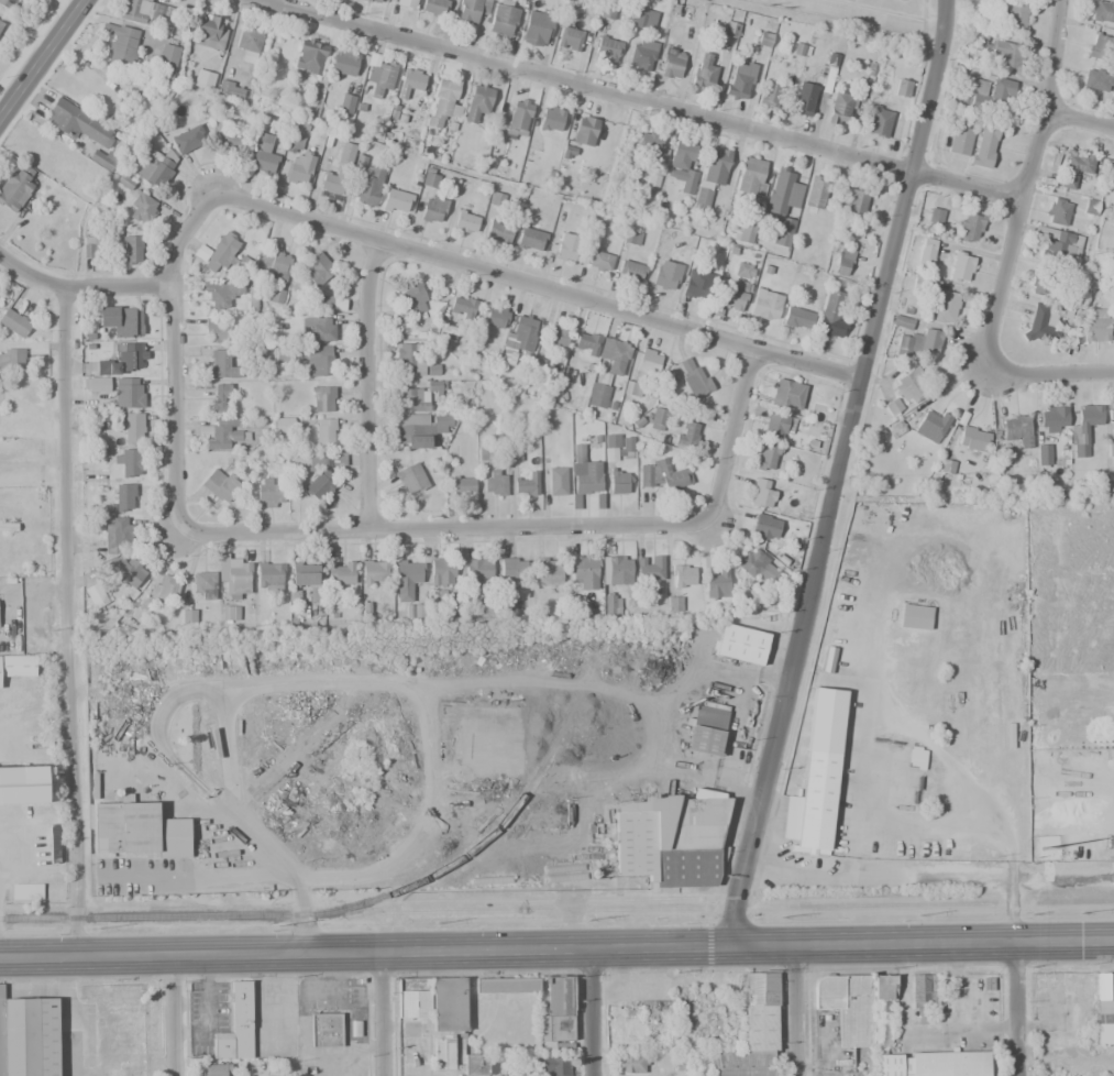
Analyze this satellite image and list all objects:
building: (375, 1)
building: (5, 3)
building: (404, 3)
building: (434, 8)
building: (472, 10)
building: (1103, 11)
building: (142, 12)
building: (1014, 15)
building: (643, 18)
building: (504, 20)
building: (0, 23)
building: (537, 29)
building: (209, 33)
building: (977, 36)
building: (570, 39)
building: (250, 40)
building: (119, 43)
building: (1100, 46)
building: (607, 48)
road: (37, 52)
building: (642, 53)
building: (1007, 53)
building: (167, 56)
building: (310, 57)
building: (344, 62)
building: (672, 64)
building: (703, 73)
building: (380, 75)
building: (205, 79)
building: (740, 79)
building: (1095, 80)
building: (410, 83)
building: (902, 87)
building: (231, 89)
building: (771, 91)
building: (1113, 92)
building: (986, 94)
building: (804, 99)
road: (644, 100)
building: (442, 101)
building: (346, 102)
building: (477, 102)
building: (840, 107)
building: (519, 114)
road: (1079, 118)
building: (551, 119)
building: (879, 121)
building: (77, 122)
building: (413, 122)
building: (584, 130)
building: (609, 138)
building: (187, 139)
building: (229, 140)
building: (961, 141)
building: (296, 143)
building: (653, 144)
building: (985, 144)
building: (346, 153)
building: (262, 158)
building: (101, 160)
building: (682, 165)
building: (715, 165)
building: (1079, 165)
building: (156, 167)
building: (300, 168)
building: (753, 176)
building: (430, 178)
building: (333, 180)
building: (1113, 180)
building: (1113, 184)
building: (367, 187)
building: (14, 188)
road: (1022, 188)
building: (783, 191)
building: (816, 191)
building: (702, 198)
building: (397, 200)
building: (495, 200)
building: (856, 201)
building: (142, 208)
building: (432, 209)
building: (1058, 210)
building: (935, 217)
building: (466, 221)
building: (969, 228)
building: (498, 231)
building: (783, 231)
building: (747, 232)
building: (631, 237)
road: (373, 238)
building: (530, 239)
building: (1067, 244)
building: (89, 246)
building: (567, 248)
building: (133, 250)
building: (201, 252)
building: (220, 252)
building: (925, 255)
building: (600, 261)
building: (843, 261)
building: (275, 263)
building: (958, 266)
building: (317, 270)
building: (630, 271)
building: (743, 271)
building: (666, 274)
building: (1044, 279)
building: (697, 284)
road: (82, 286)
building: (223, 294)
building: (276, 296)
building: (730, 296)
building: (416, 300)
building: (327, 301)
building: (765, 305)
building: (462, 307)
building: (945, 307)
building: (495, 316)
building: (830, 317)
building: (798, 318)
building: (121, 320)
building: (14, 322)
building: (901, 322)
building: (1039, 322)
building: (1098, 326)
building: (320, 328)
building: (217, 330)
building: (446, 331)
building: (558, 334)
building: (519, 337)
building: (918, 341)
building: (586, 343)
building: (614, 350)
building: (411, 356)
building: (123, 359)
building: (319, 361)
building: (649, 361)
building: (11, 362)
building: (218, 365)
building: (539, 369)
building: (432, 370)
road: (1045, 374)
building: (693, 377)
building: (96, 384)
road: (366, 384)
building: (909, 385)
building: (631, 388)
building: (598, 391)
building: (128, 393)
building: (787, 393)
building: (421, 396)
building: (323, 398)
building: (220, 400)
building: (1113, 414)
building: (658, 417)
building: (1052, 418)
building: (931, 424)
building: (283, 425)
building: (775, 427)
building: (131, 428)
building: (419, 429)
building: (1014, 429)
building: (1084, 430)
building: (324, 431)
building: (220, 432)
building: (686, 433)
building: (971, 439)
building: (611, 440)
building: (626, 444)
building: (1110, 451)
building: (1043, 454)
building: (768, 458)
building: (327, 459)
building: (130, 461)
building: (941, 466)
road: (837, 473)
building: (585, 474)
building: (662, 475)
building: (411, 479)
building: (556, 481)
building: (494, 482)
building: (619, 482)
building: (220, 484)
building: (527, 484)
building: (320, 485)
building: (462, 486)
building: (268, 494)
building: (760, 494)
building: (124, 497)
road: (531, 526)
building: (765, 526)
building: (118, 531)
building: (2, 548)
building: (19, 553)
building: (753, 563)
building: (478, 568)
building: (514, 568)
building: (125, 569)
building: (549, 570)
building: (616, 570)
building: (375, 571)
building: (340, 572)
building: (443, 572)
building: (582, 573)
building: (233, 574)
building: (647, 574)
building: (682, 575)
building: (269, 577)
building: (406, 577)
building: (309, 579)
building: (715, 583)
building: (203, 585)
building: (165, 588)
building: (96, 595)
building: (453, 604)
building: (611, 605)
building: (486, 606)
building: (415, 611)
building: (188, 616)
building: (915, 616)
road: (65, 621)
building: (740, 644)
building: (16, 665)
building: (706, 729)
building: (916, 757)
building: (814, 776)
building: (23, 784)
building: (139, 831)
building: (671, 836)
building: (54, 841)
railway: (467, 853)
road: (907, 875)
road: (1060, 875)
building: (26, 890)
railway: (755, 897)
railway: (956, 904)
railway: (540, 910)
power tower: (1080, 913)
railway: (142, 915)
power tower: (780, 915)
power tower: (917, 915)
power tower: (587, 920)
power tower: (285, 923)
power tower: (437, 923)
power tower: (96, 927)
road: (556, 948)
building: (506, 985)
building: (919, 995)
building: (413, 997)
building: (848, 1007)
building: (1104, 1007)
building: (649, 1009)
road: (793, 1010)
building: (882, 1010)
road: (1019, 1010)
building: (761, 1011)
road: (591, 1012)
road: (388, 1013)
road: (172, 1015)
building: (558, 1015)
building: (449, 1017)
building: (235, 1028)
building: (354, 1029)
building: (326, 1030)
building: (27, 1036)
building: (633, 1063)
building: (471, 1064)
building: (740, 1064)
building: (949, 1064)
building: (893, 1065)
building: (552, 1066)
building: (217, 1070)

